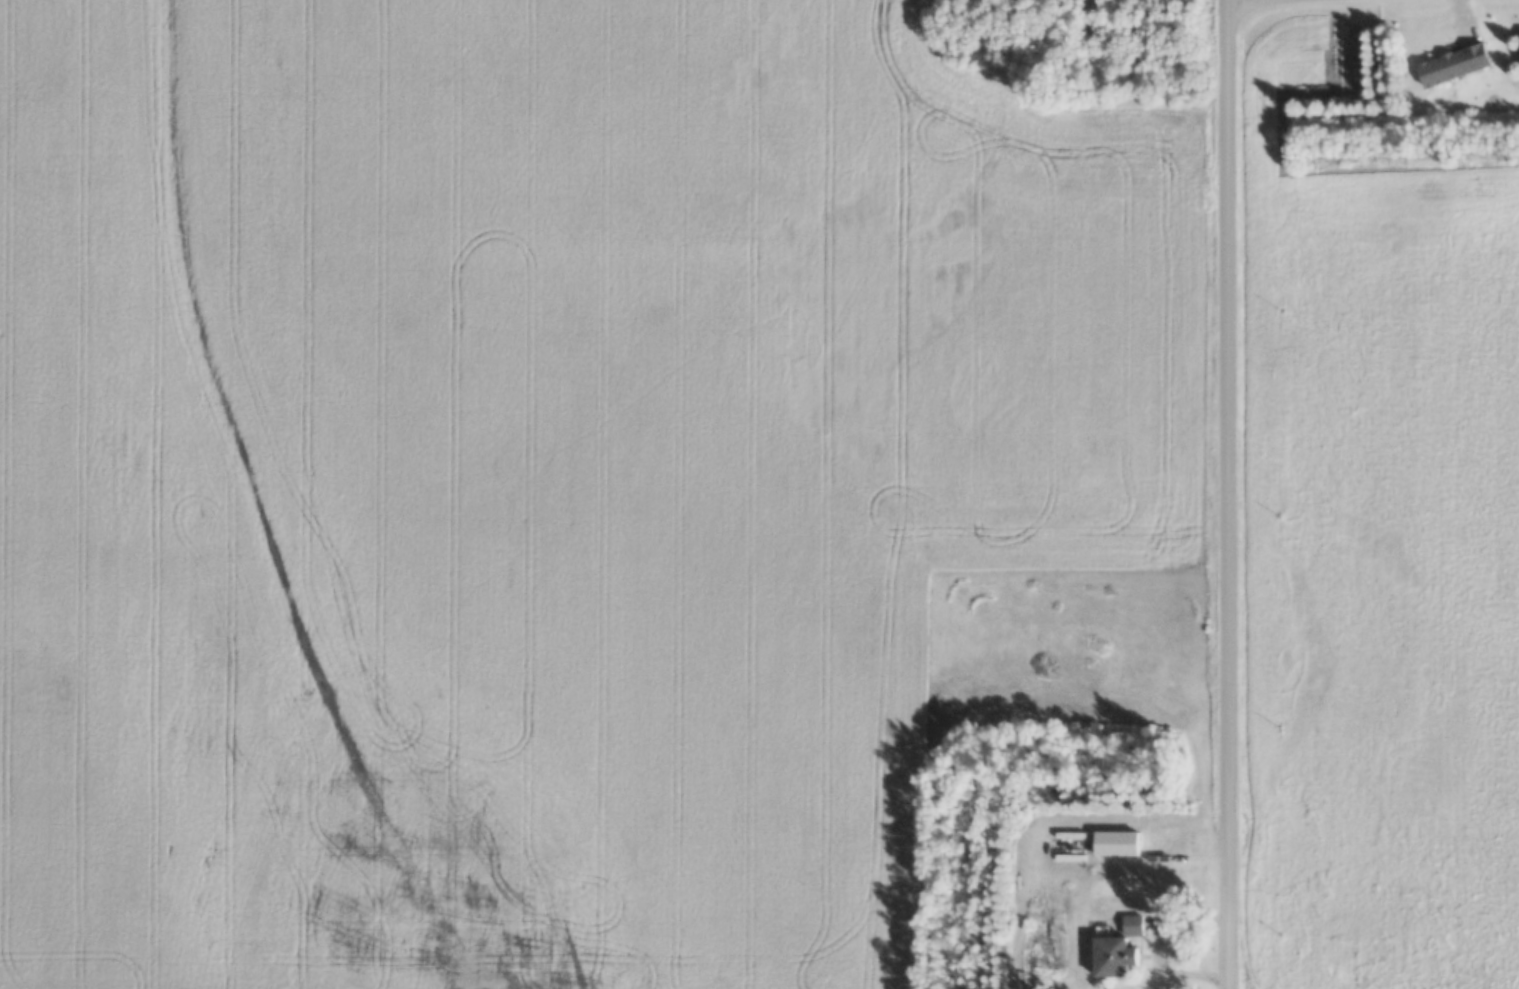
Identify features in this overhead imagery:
road: (1230, 494)
building: (1114, 950)
road: (1169, 963)

